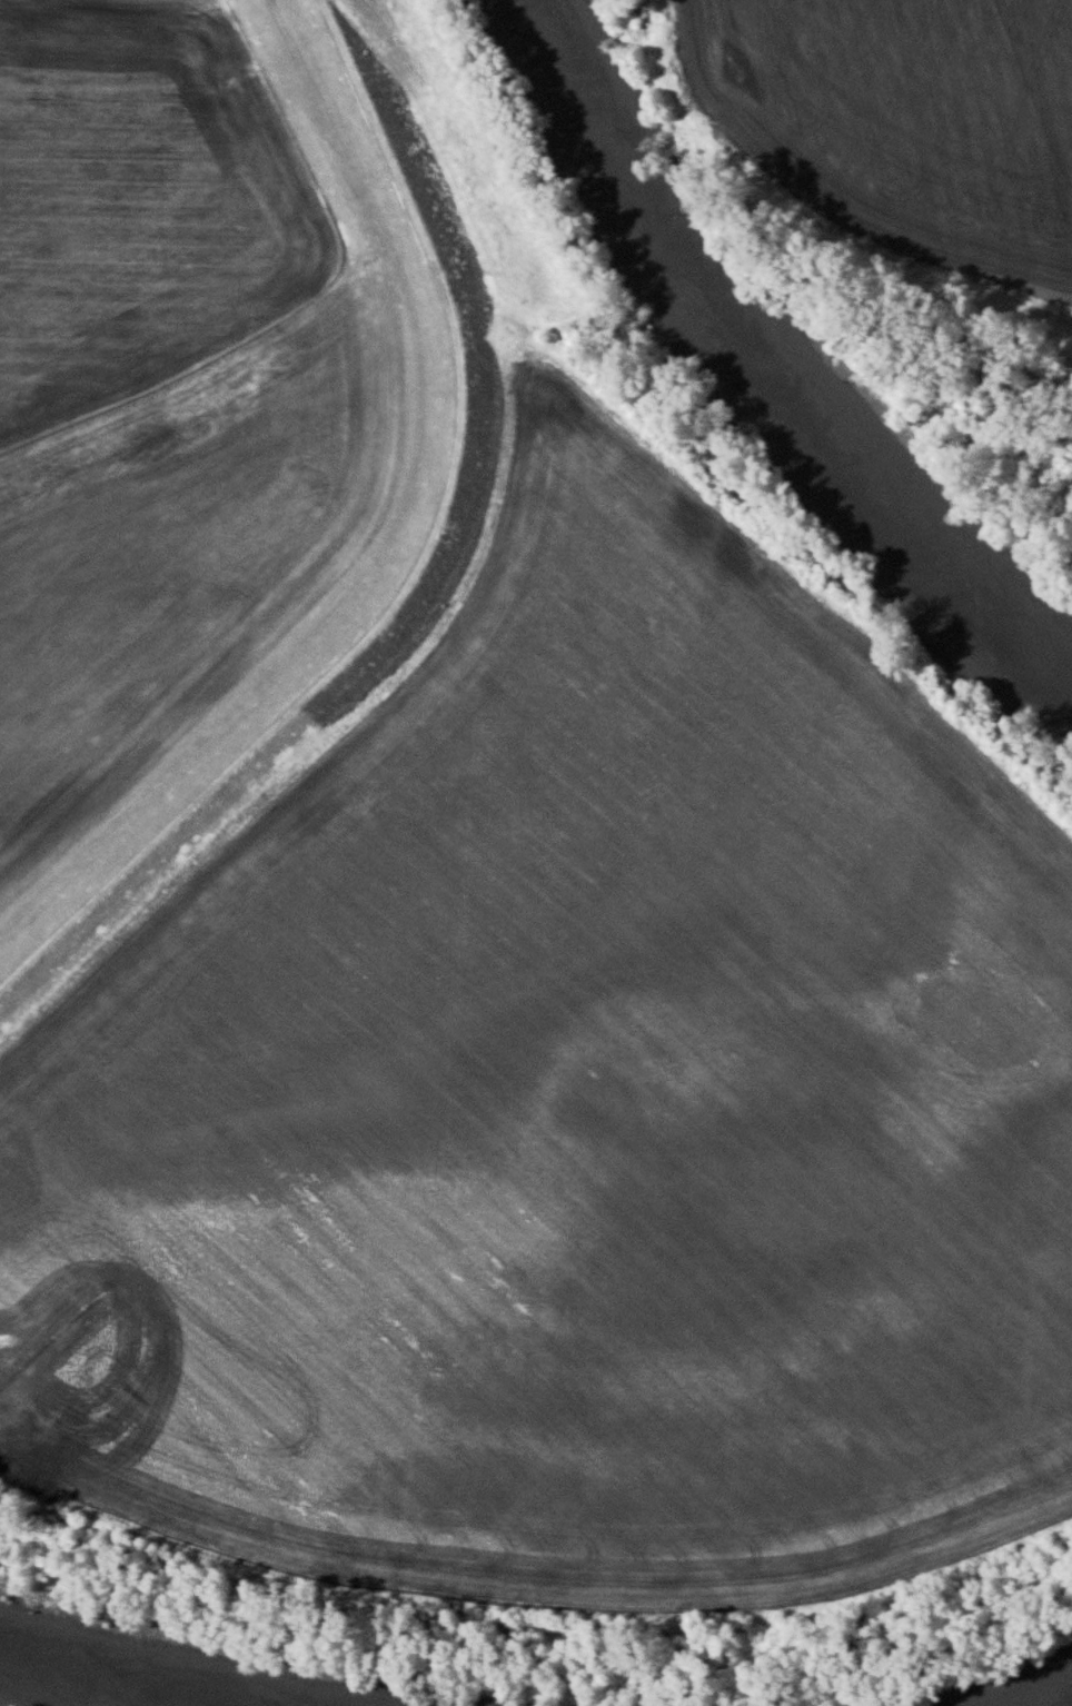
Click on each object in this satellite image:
river: (745, 375)
crop: (166, 387)
river: (115, 1676)
river: (1069, 1704)

